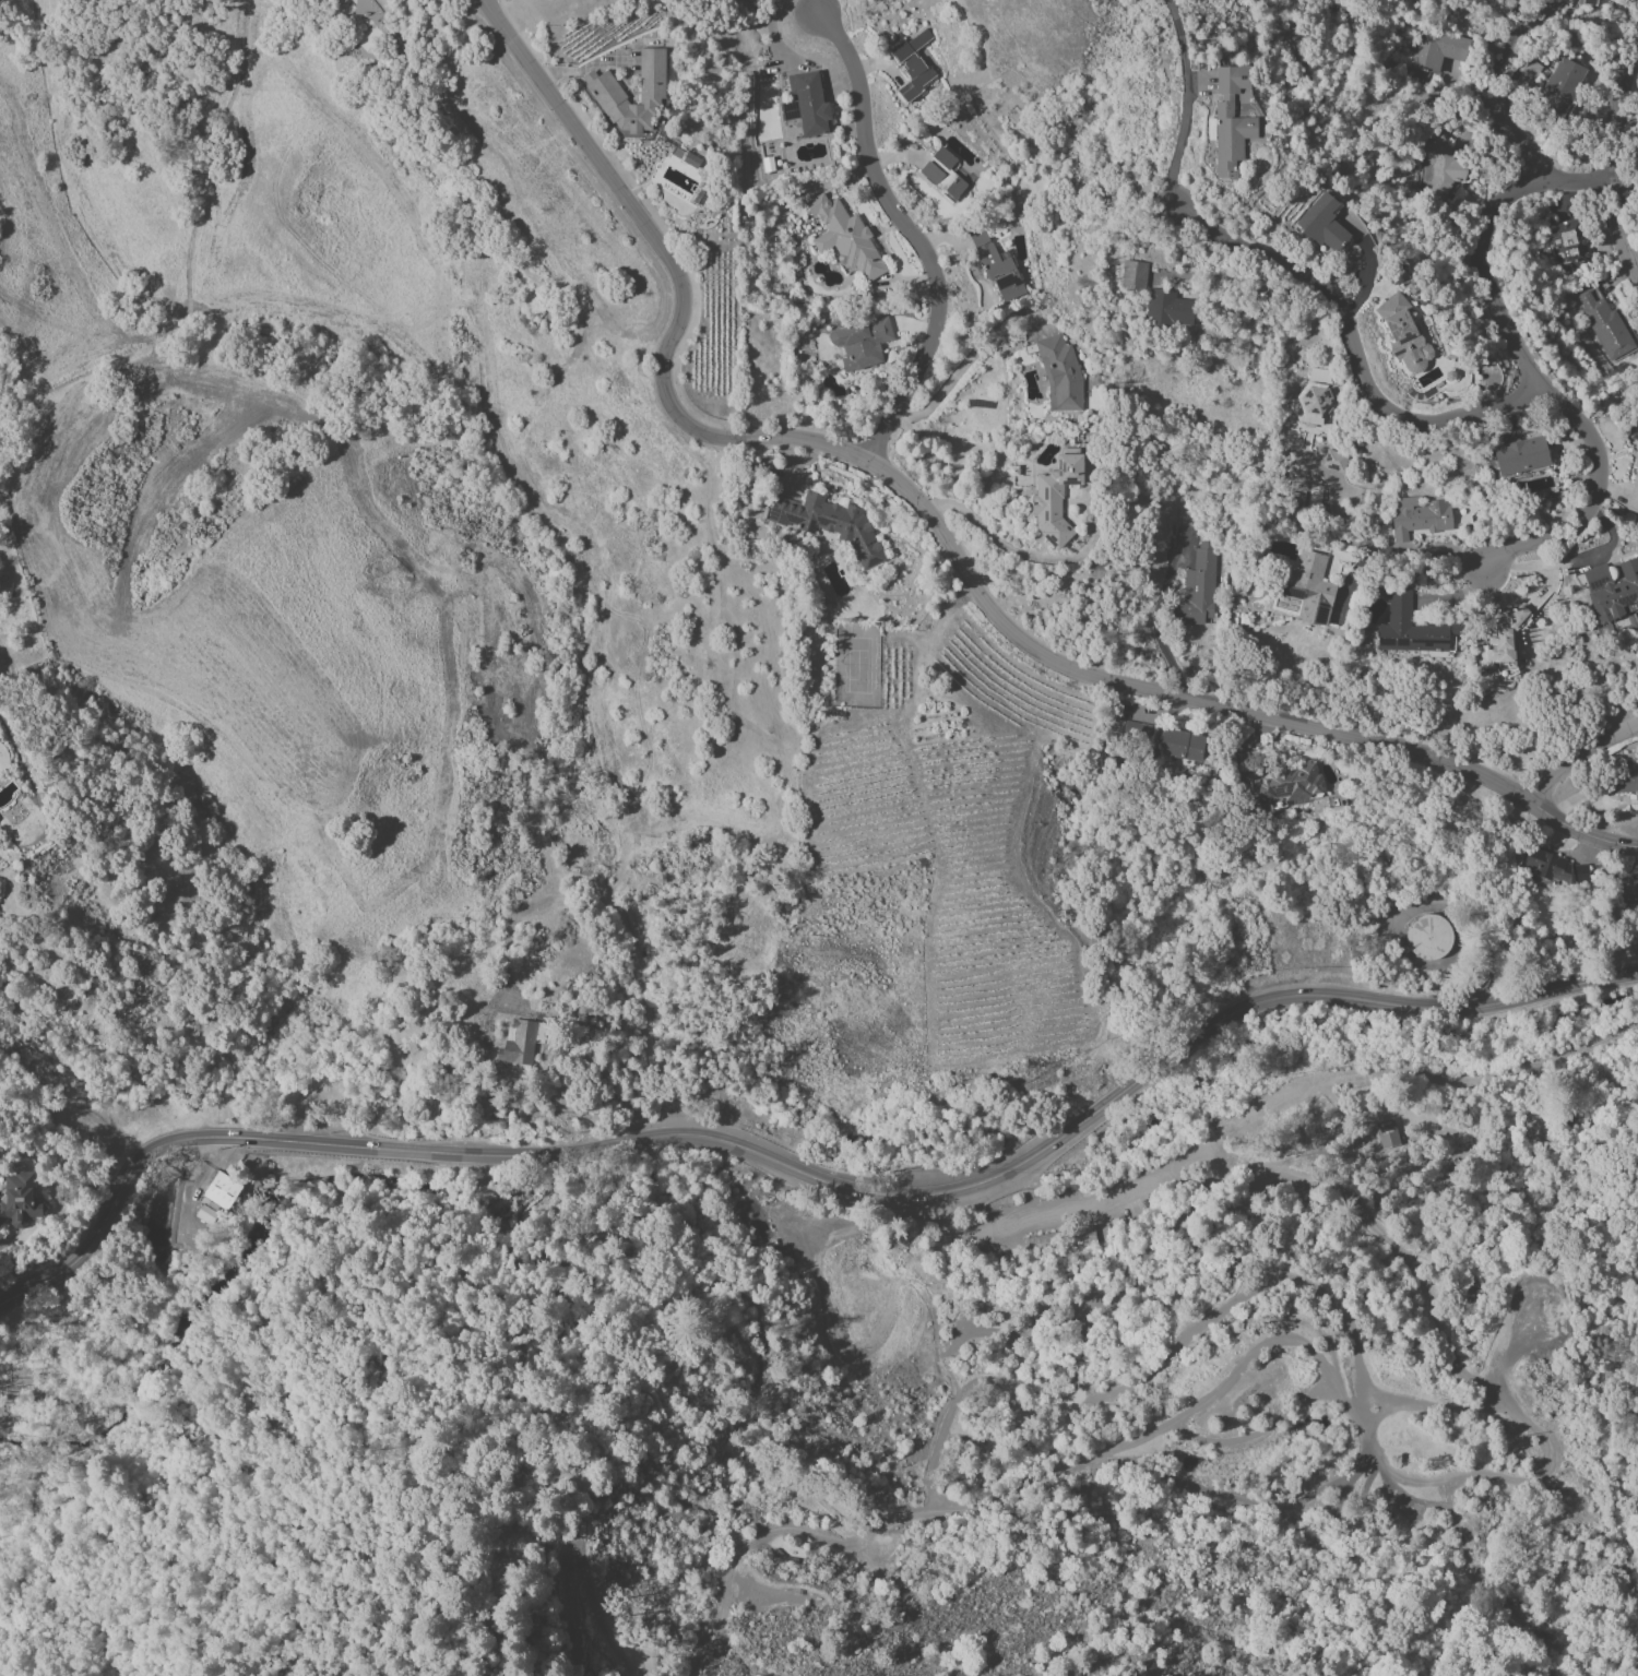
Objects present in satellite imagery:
building: (873, 0)
building: (371, 10)
building: (1437, 50)
road: (1505, 50)
road: (592, 63)
building: (913, 64)
building: (1560, 85)
building: (605, 91)
building: (810, 104)
road: (1186, 104)
building: (788, 110)
building: (1231, 118)
road: (1518, 140)
road: (1605, 163)
building: (1439, 168)
building: (945, 176)
building: (1321, 223)
road: (913, 236)
building: (845, 237)
building: (1568, 246)
building: (987, 253)
road: (1366, 270)
building: (1132, 275)
building: (1008, 286)
building: (1166, 309)
building: (1604, 324)
building: (1403, 334)
building: (860, 343)
road: (1354, 343)
road: (959, 370)
road: (1528, 370)
building: (1060, 376)
building: (1315, 395)
building: (1520, 456)
building: (1333, 461)
building: (1634, 495)
building: (1055, 496)
building: (1294, 500)
building: (1419, 516)
building: (829, 525)
road: (945, 531)
road: (1028, 555)
road: (1400, 560)
building: (1309, 587)
building: (1612, 590)
building: (1195, 591)
road: (1158, 623)
building: (1412, 628)
building: (1505, 635)
building: (1162, 740)
road: (1579, 759)
building: (1625, 783)
building: (1285, 784)
building: (1553, 867)
building: (1627, 890)
building: (1428, 938)
building: (519, 1043)
road: (1422, 1075)
road: (808, 1174)
parking lot: (1104, 1192)
building: (216, 1198)
building: (20, 1200)
road: (1096, 1203)
road: (941, 1219)
building: (1064, 1248)
quarry: (1064, 1248)
road: (1233, 1301)
road: (981, 1328)
road: (1041, 1338)
road: (1516, 1345)
road: (1236, 1368)
road: (957, 1388)
park: (1147, 1390)
road: (1379, 1399)
road: (1258, 1438)
road: (1351, 1464)
road: (1494, 1482)
road: (1226, 1496)
road: (424, 1521)
road: (1456, 1548)
road: (579, 1553)
road: (1358, 1582)
road: (1031, 1607)
road: (578, 1625)
road: (709, 1630)

